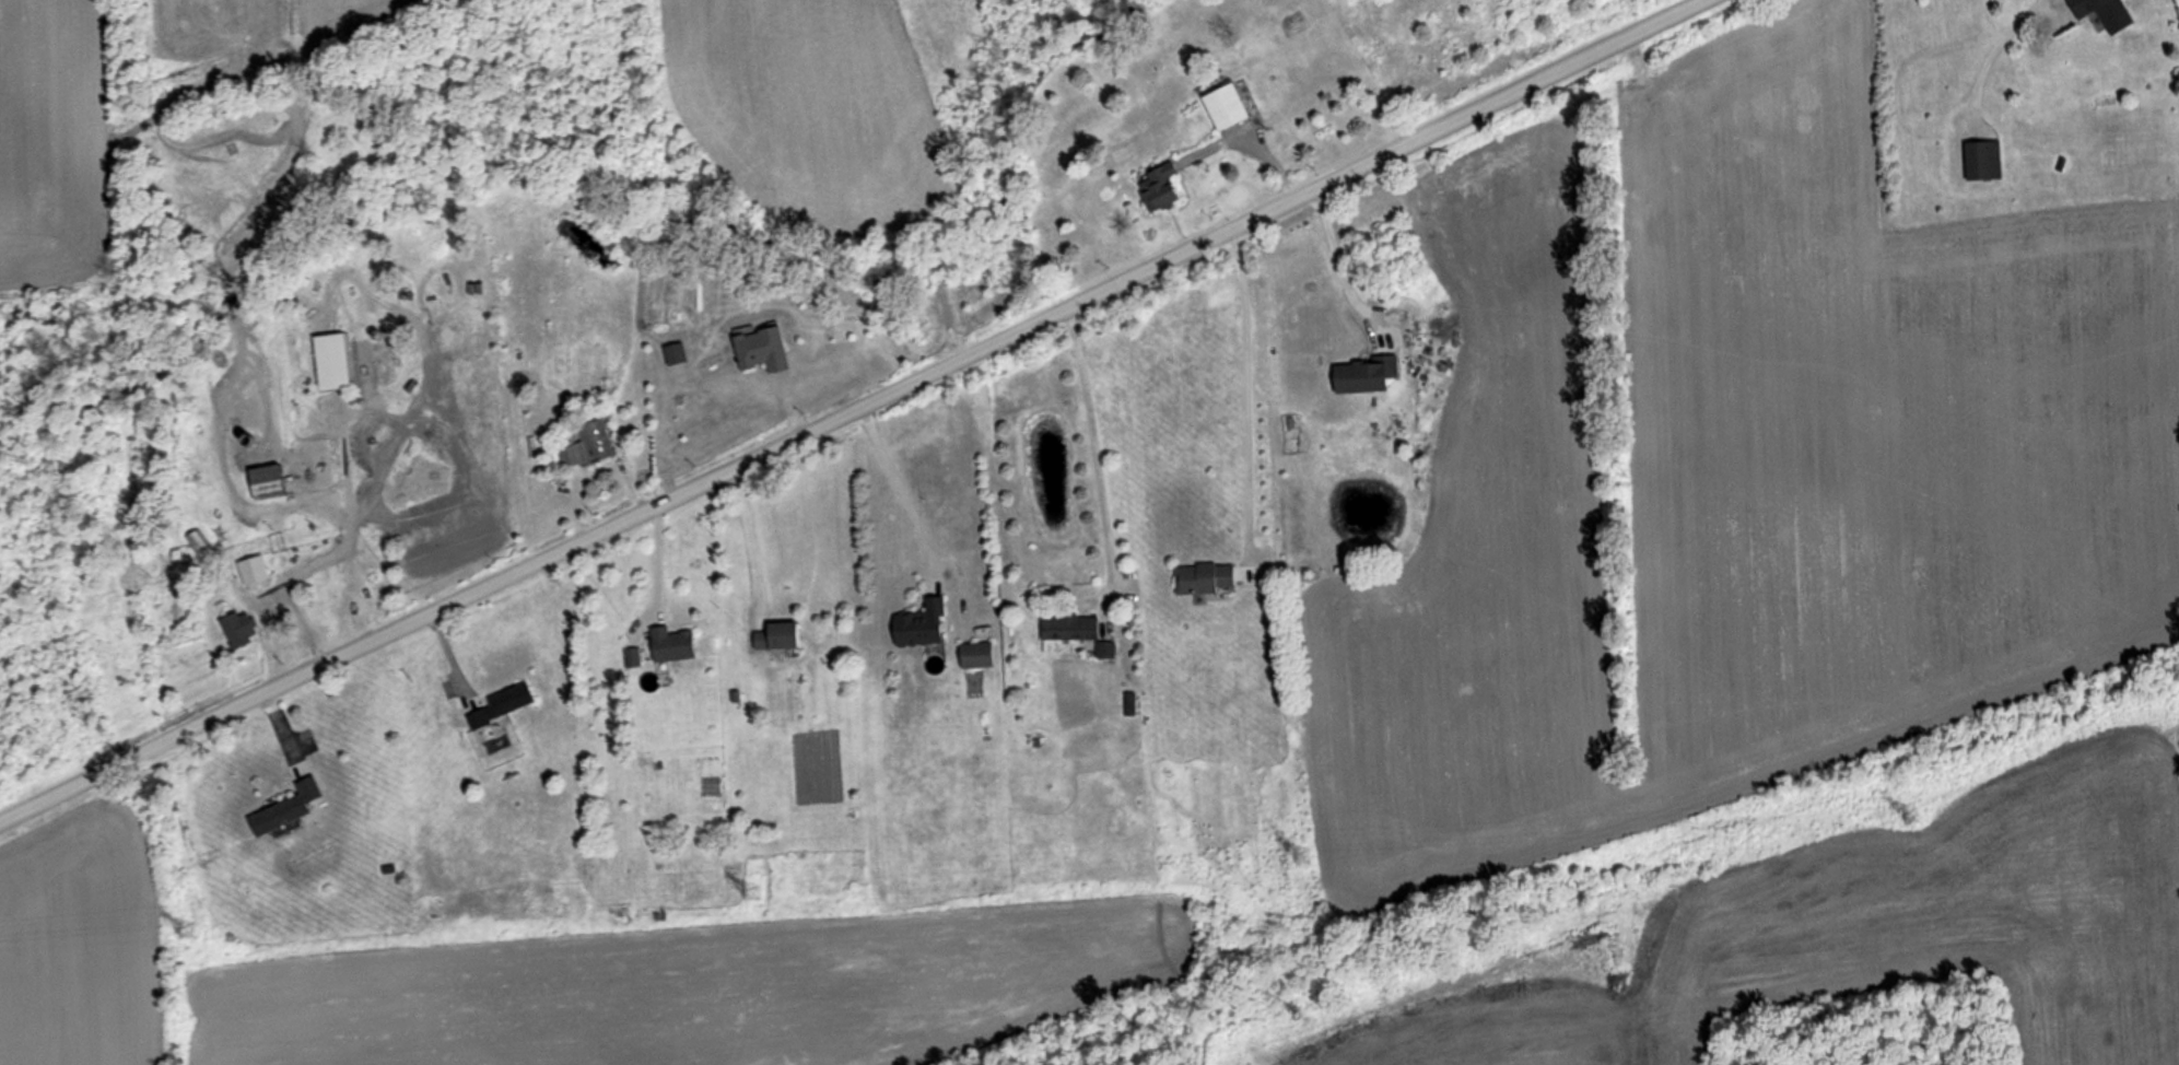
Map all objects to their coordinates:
building: (2093, 3)
building: (1225, 105)
road: (1249, 151)
building: (1981, 160)
building: (1158, 186)
road: (1340, 261)
building: (762, 348)
building: (675, 352)
building: (332, 360)
building: (1361, 374)
building: (476, 376)
road: (1247, 399)
road: (853, 410)
building: (588, 445)
road: (1098, 454)
road: (345, 461)
road: (898, 481)
road: (750, 536)
building: (201, 541)
building: (254, 567)
building: (1204, 577)
road: (276, 586)
building: (919, 623)
building: (1068, 627)
building: (238, 628)
building: (777, 634)
building: (671, 643)
building: (976, 654)
building: (502, 703)
building: (284, 808)
power tower: (1909, 811)
power tower: (1304, 855)
power tower: (752, 890)
power tower: (192, 929)

